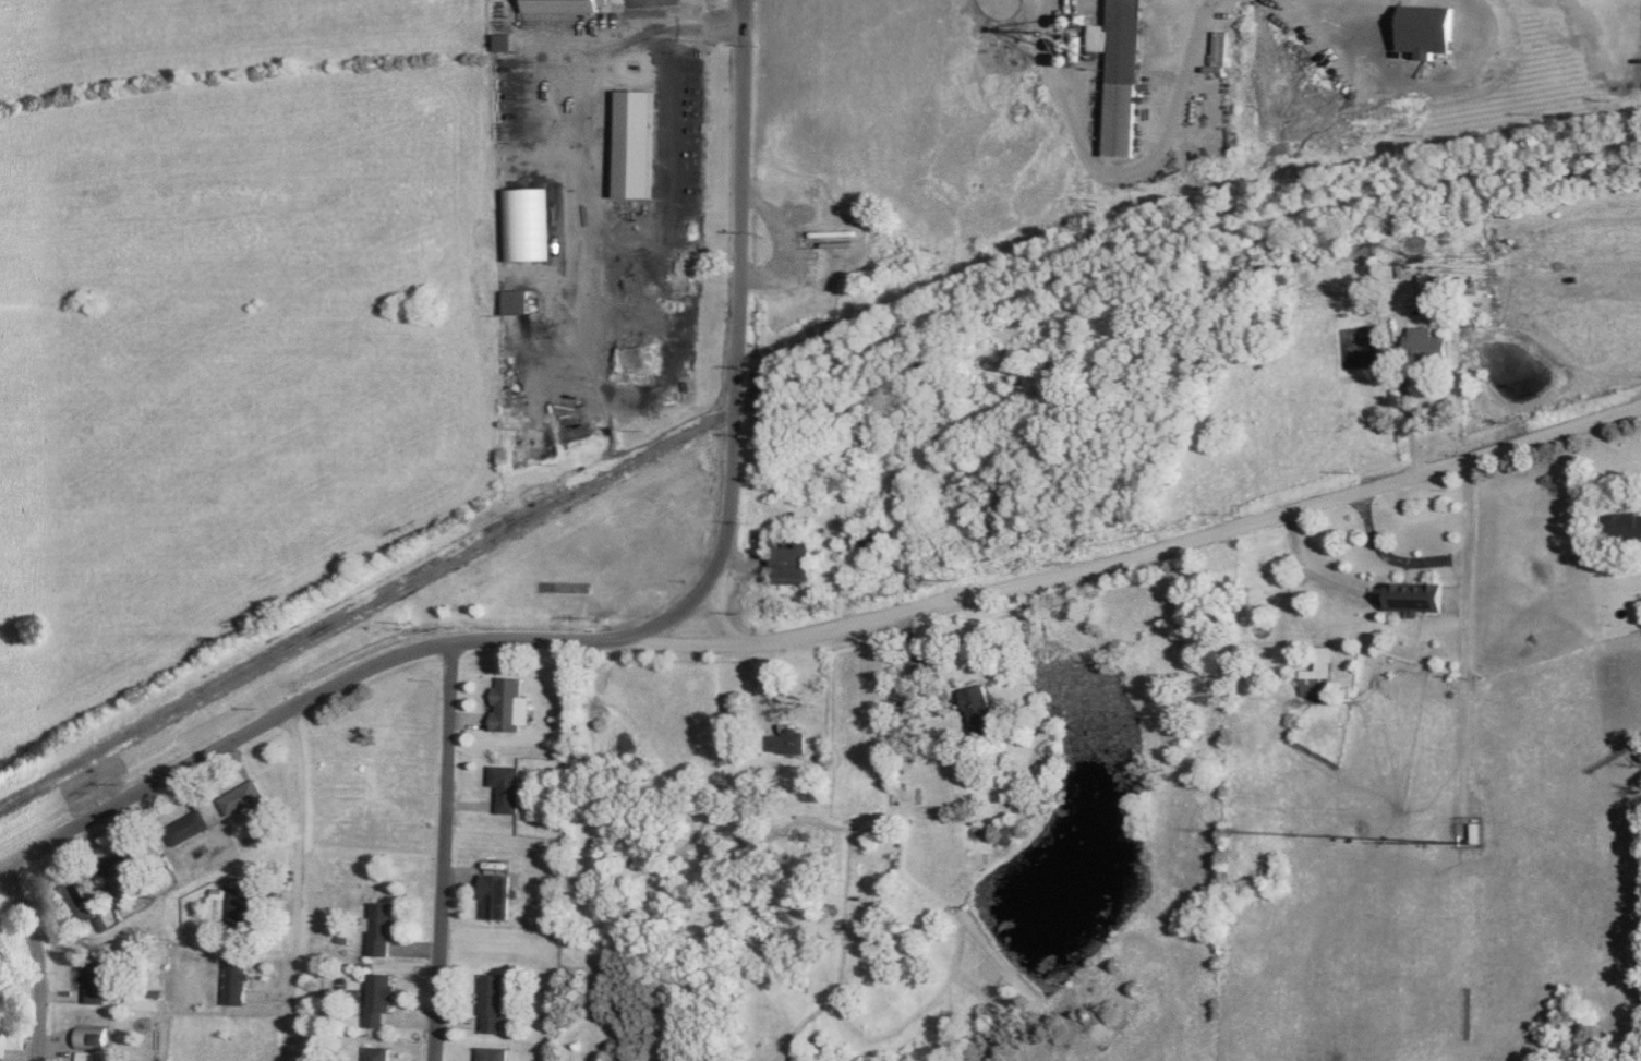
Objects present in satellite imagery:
building: (568, 5)
road: (689, 21)
building: (505, 41)
building: (1129, 79)
building: (524, 225)
building: (1389, 273)
building: (1441, 284)
building: (519, 302)
building: (1427, 345)
road: (1467, 521)
building: (1626, 525)
building: (879, 541)
road: (1127, 545)
building: (795, 557)
building: (1416, 595)
road: (719, 612)
road: (630, 637)
building: (1320, 674)
building: (509, 702)
building: (985, 711)
building: (792, 742)
building: (508, 786)
building: (243, 797)
building: (190, 828)
building: (1477, 831)
building: (1012, 832)
road: (298, 847)
road: (443, 851)
building: (130, 860)
road: (1, 866)
building: (497, 895)
building: (77, 902)
building: (242, 907)
building: (383, 928)
building: (1, 949)
road: (36, 960)
building: (237, 977)
building: (98, 981)
building: (381, 997)
building: (494, 1002)
building: (0, 1035)
building: (94, 1038)
building: (378, 1053)
building: (494, 1053)

